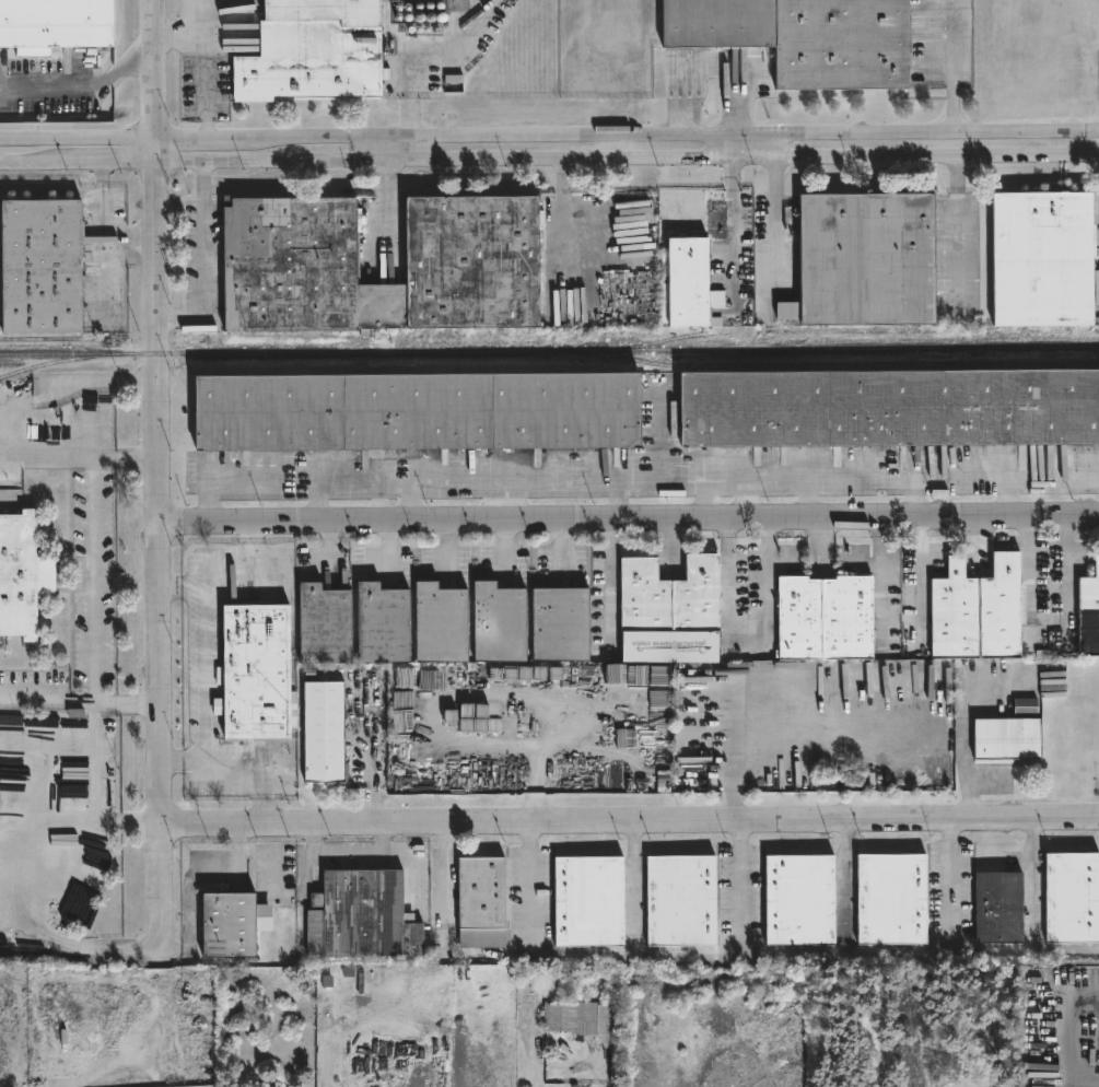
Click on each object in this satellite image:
building: (55, 25)
road: (182, 37)
building: (802, 37)
building: (311, 51)
road: (429, 63)
road: (135, 66)
road: (954, 68)
road: (156, 70)
road: (207, 70)
road: (105, 84)
road: (49, 89)
road: (628, 138)
road: (79, 142)
road: (776, 148)
road: (157, 150)
road: (400, 150)
road: (628, 160)
road: (79, 162)
road: (565, 201)
road: (394, 206)
road: (776, 213)
road: (734, 227)
road: (201, 258)
building: (285, 258)
building: (1041, 258)
building: (864, 259)
building: (664, 264)
building: (38, 266)
building: (687, 281)
railway: (849, 330)
railway: (47, 338)
railway: (671, 339)
railway: (549, 350)
railway: (56, 361)
railway: (829, 364)
road: (72, 378)
building: (889, 409)
building: (417, 412)
road: (42, 457)
road: (752, 488)
road: (316, 490)
road: (394, 490)
road: (157, 492)
road: (210, 495)
road: (1006, 499)
road: (808, 501)
road: (916, 503)
road: (748, 504)
road: (706, 505)
road: (618, 506)
road: (503, 509)
road: (629, 519)
road: (447, 543)
road: (389, 545)
road: (504, 545)
road: (330, 546)
road: (561, 547)
road: (919, 572)
building: (22, 575)
road: (95, 581)
road: (607, 583)
building: (668, 611)
building: (977, 611)
building: (1089, 612)
building: (822, 619)
building: (440, 627)
road: (206, 674)
building: (255, 674)
road: (80, 704)
building: (1026, 708)
road: (96, 711)
road: (96, 726)
building: (321, 732)
building: (1007, 739)
road: (732, 741)
road: (728, 803)
road: (95, 810)
road: (630, 820)
road: (36, 822)
road: (444, 875)
road: (1033, 883)
road: (950, 884)
road: (743, 885)
road: (845, 885)
road: (633, 886)
road: (530, 887)
building: (1072, 898)
building: (587, 899)
building: (892, 899)
building: (480, 901)
building: (680, 901)
building: (798, 901)
building: (998, 908)
building: (361, 915)
building: (225, 926)
road: (127, 950)
road: (802, 950)
road: (463, 954)
road: (1088, 993)
building: (561, 1016)
road: (1077, 1040)

